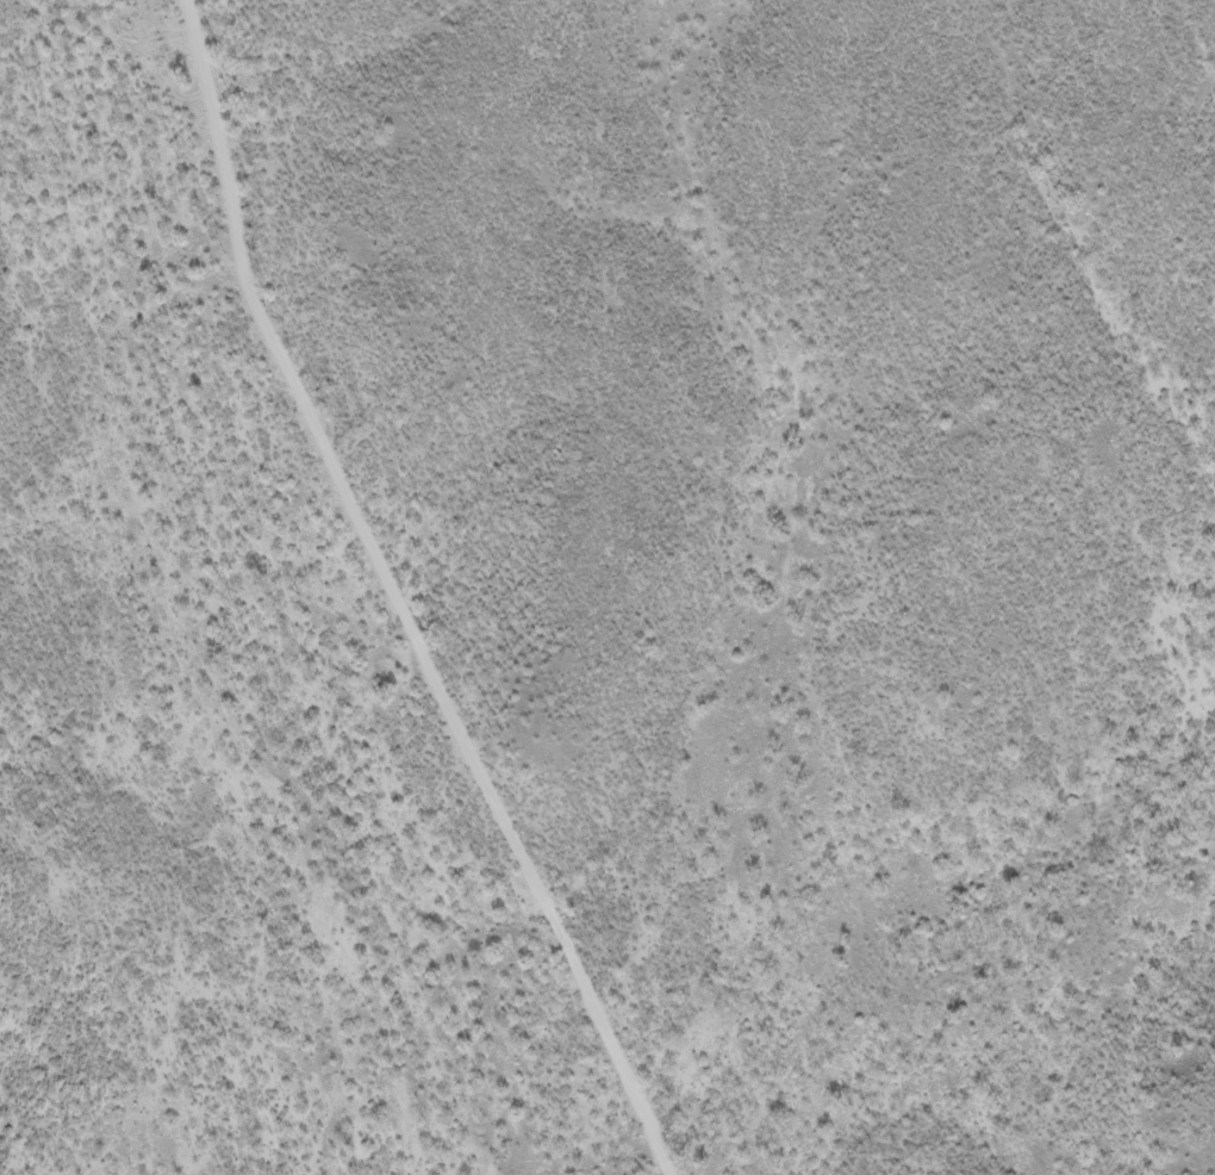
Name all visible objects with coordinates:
road: (401, 598)

